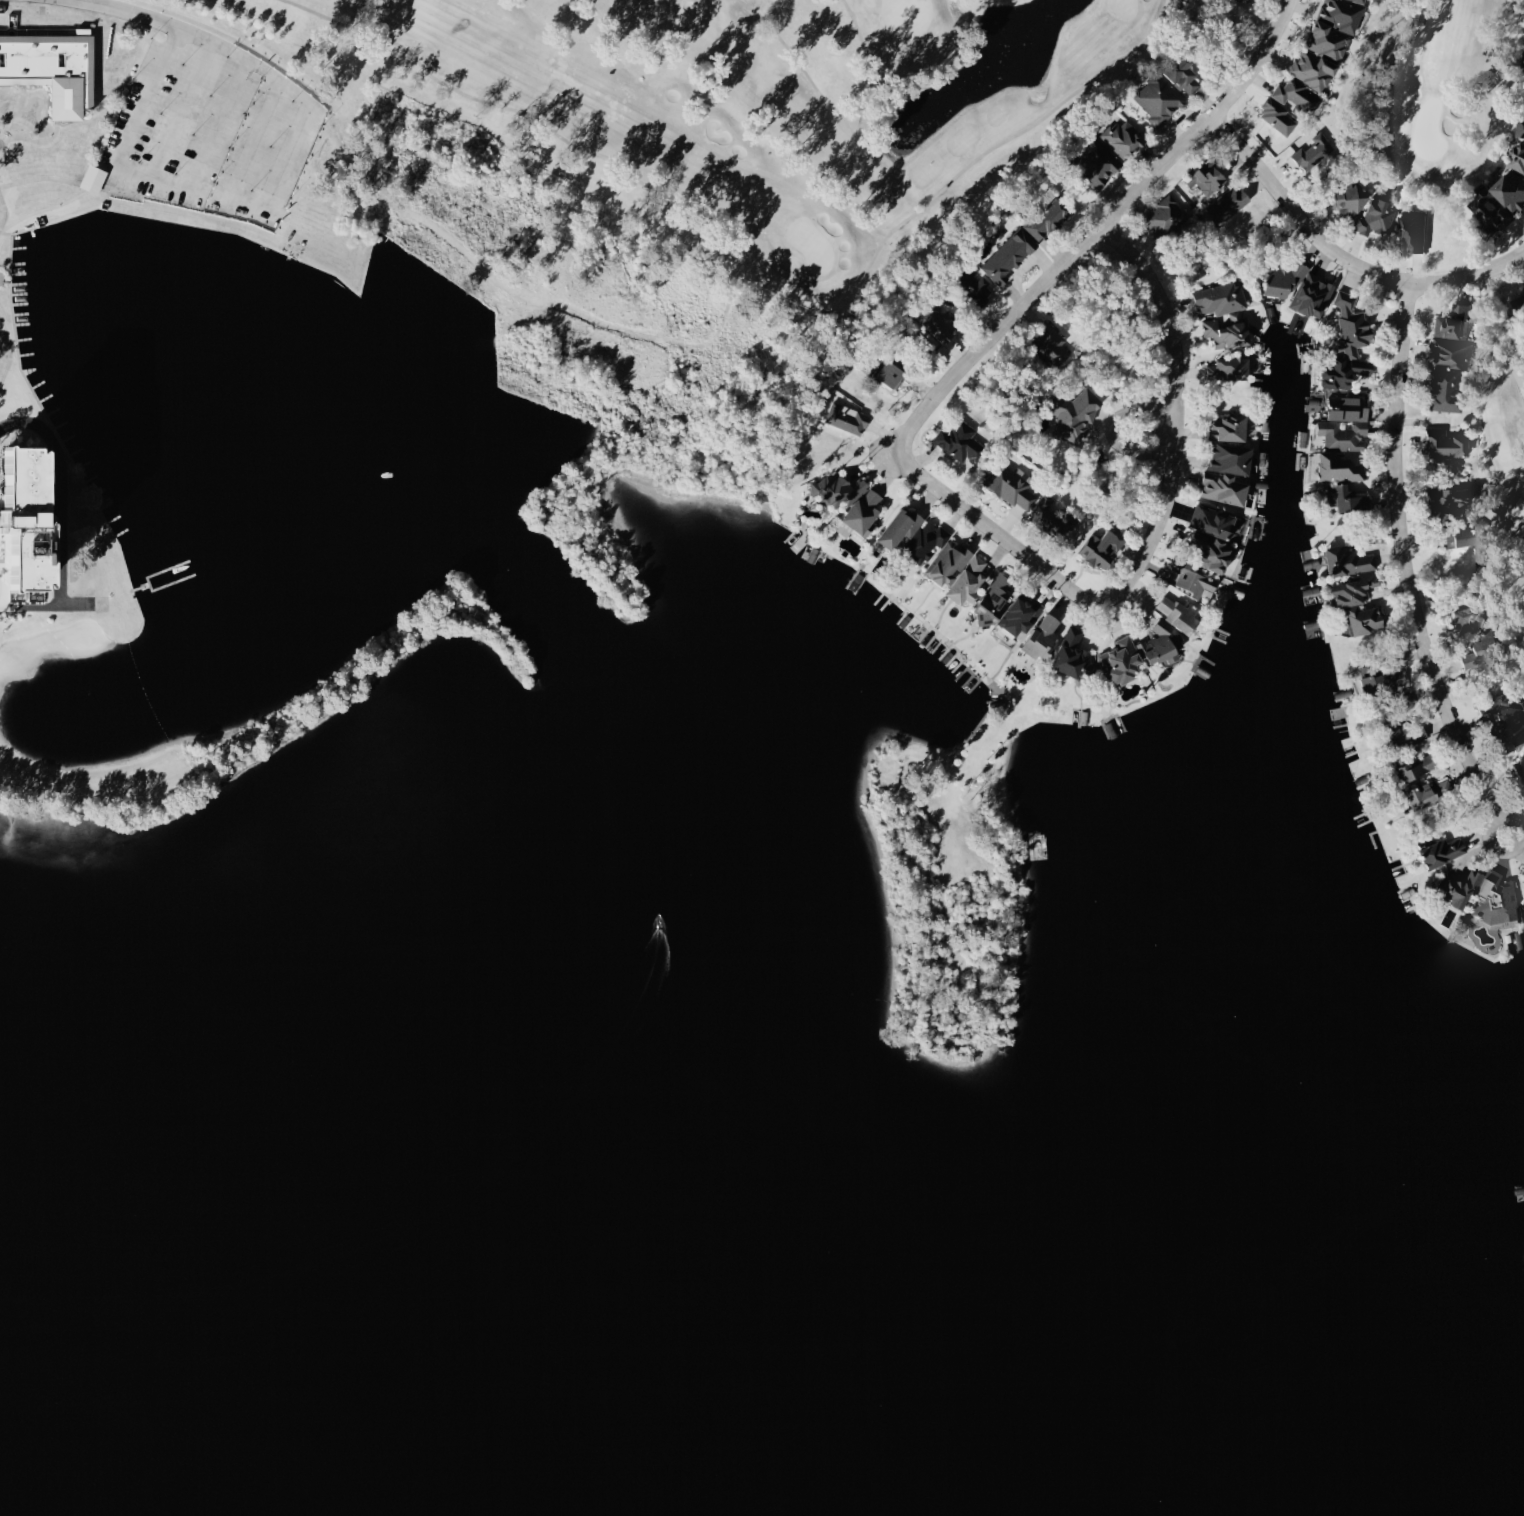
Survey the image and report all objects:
building: (1256, 0)
road: (122, 11)
building: (1322, 53)
building: (55, 67)
building: (1185, 74)
building: (1159, 99)
park: (752, 113)
parking lot: (216, 126)
building: (1522, 130)
building: (1123, 139)
building: (1314, 151)
building: (1101, 159)
building: (1519, 159)
building: (1207, 180)
building: (1513, 190)
park: (1463, 193)
building: (1351, 199)
road: (242, 202)
building: (1229, 203)
building: (1495, 210)
building: (1166, 217)
building: (1377, 218)
building: (1414, 229)
road: (1098, 232)
building: (1025, 241)
road: (1342, 258)
building: (976, 288)
building: (1314, 296)
building: (1520, 304)
building: (1225, 314)
building: (1454, 323)
building: (939, 324)
building: (1052, 345)
building: (1349, 346)
building: (1452, 353)
building: (1228, 369)
building: (892, 374)
building: (1447, 390)
building: (1076, 415)
building: (848, 418)
building: (1346, 424)
building: (1229, 428)
road: (1150, 433)
building: (961, 442)
building: (1446, 444)
building: (1340, 468)
building: (1229, 473)
building: (1012, 486)
building: (1348, 499)
building: (851, 502)
building: (1451, 502)
road: (1399, 508)
building: (1054, 517)
building: (901, 527)
building: (38, 528)
building: (1463, 536)
building: (1225, 538)
road: (1154, 539)
building: (927, 542)
building: (1104, 547)
building: (959, 572)
building: (1371, 578)
building: (1194, 580)
building: (1028, 603)
building: (1179, 613)
building: (1479, 617)
building: (1366, 620)
building: (1044, 637)
building: (1162, 644)
building: (1480, 653)
building: (1072, 654)
building: (1123, 660)
building: (1369, 680)
building: (1392, 681)
building: (1508, 714)
building: (1406, 734)
road: (1484, 754)
building: (1415, 766)
building: (1520, 769)
road: (1480, 782)
building: (1430, 793)
building: (1444, 852)
building: (1464, 889)
building: (1498, 900)

